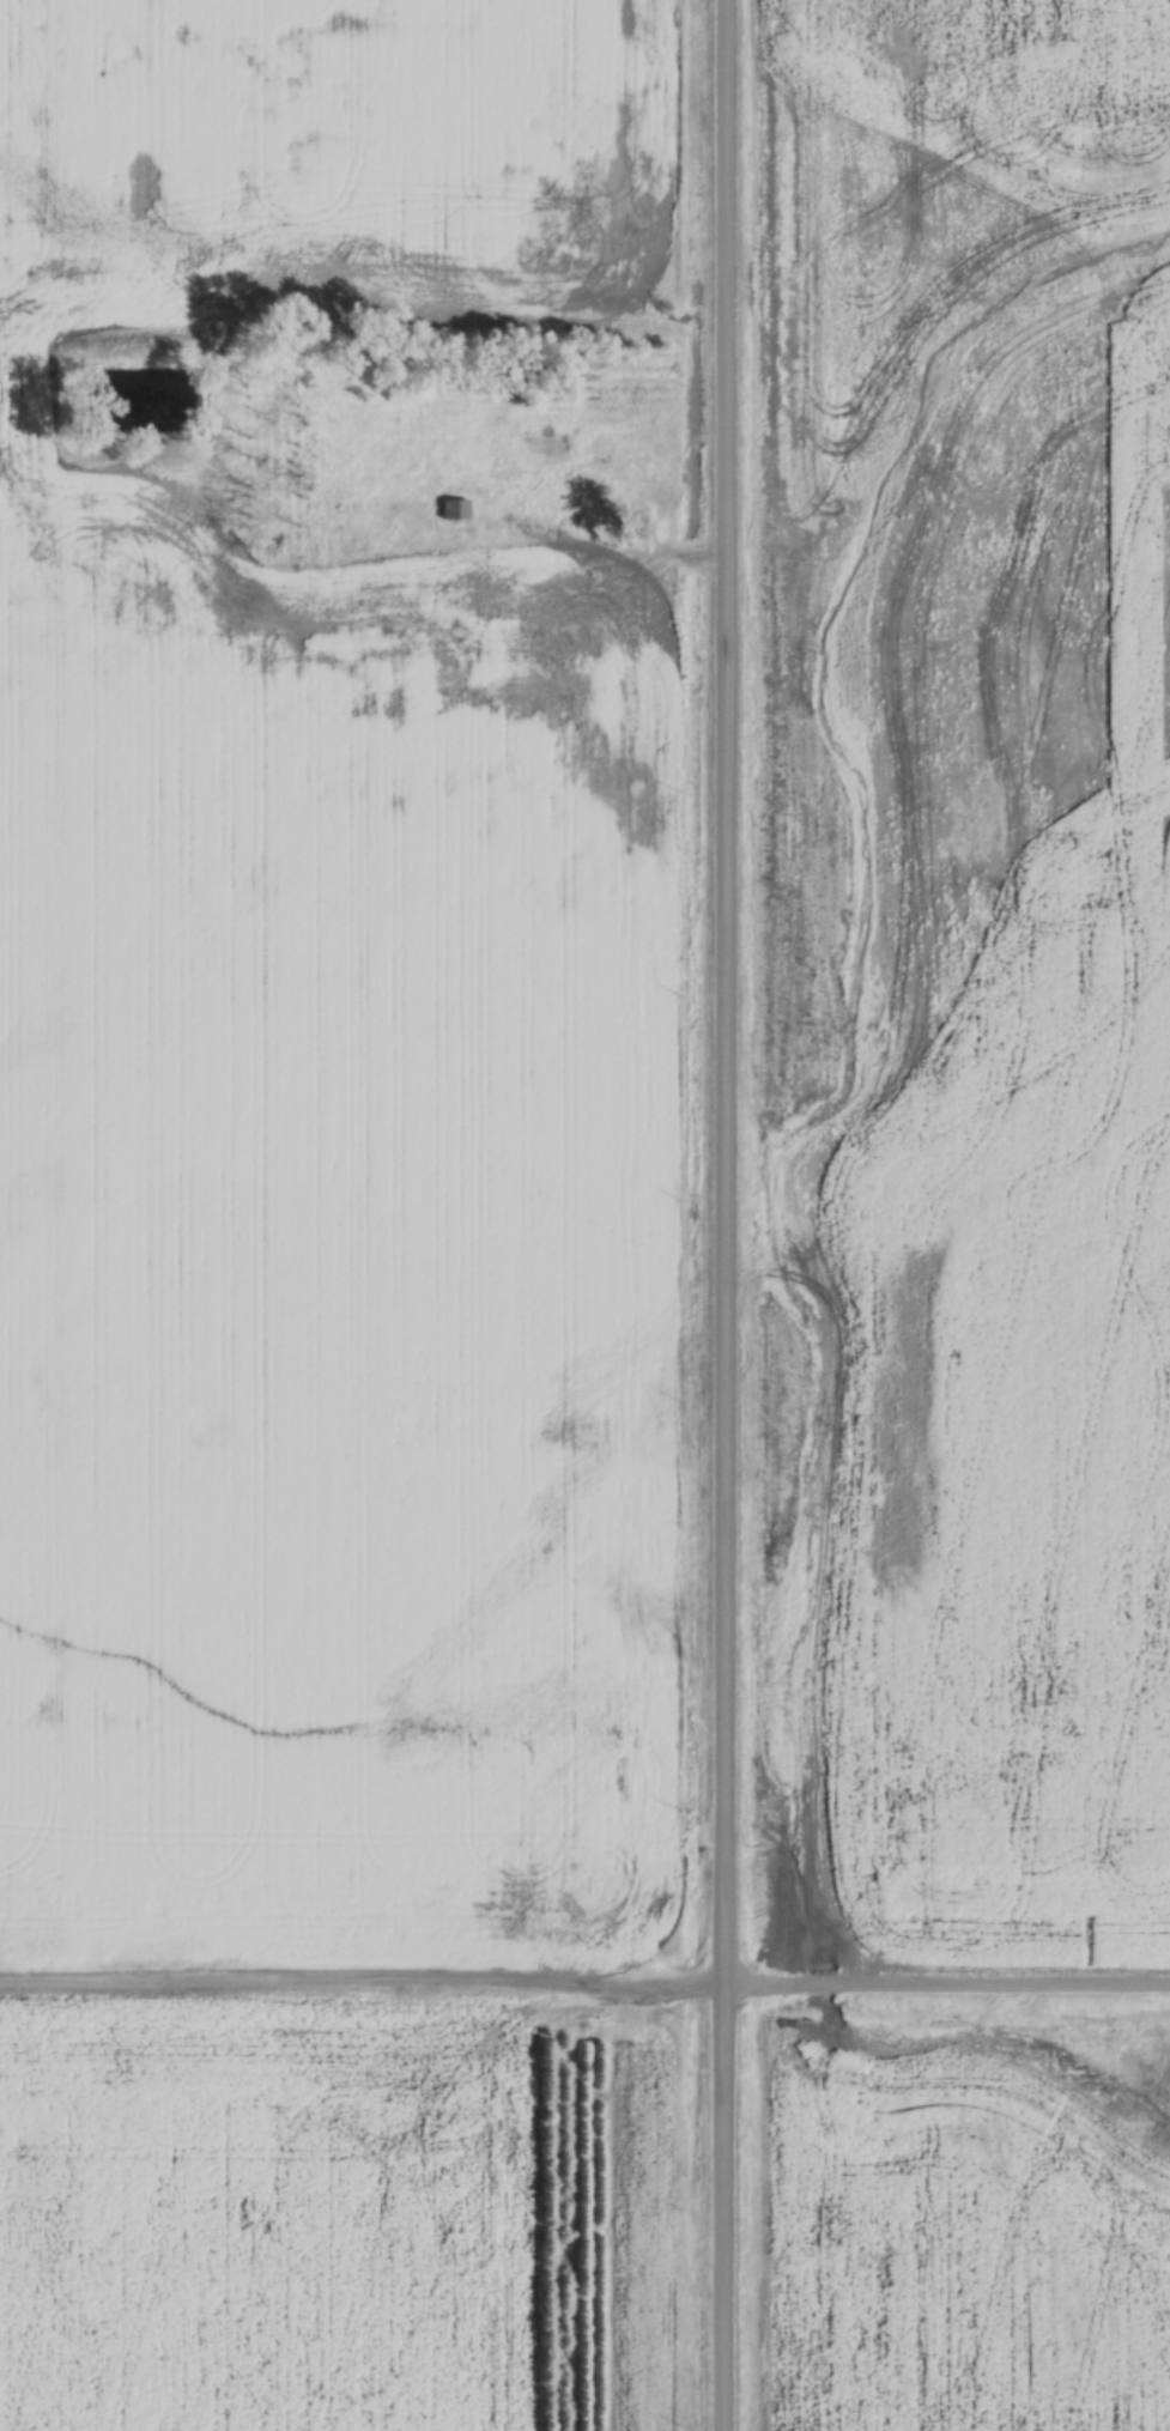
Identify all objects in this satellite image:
building: (456, 510)
road: (723, 1214)
road: (946, 1990)
road: (360, 1992)

